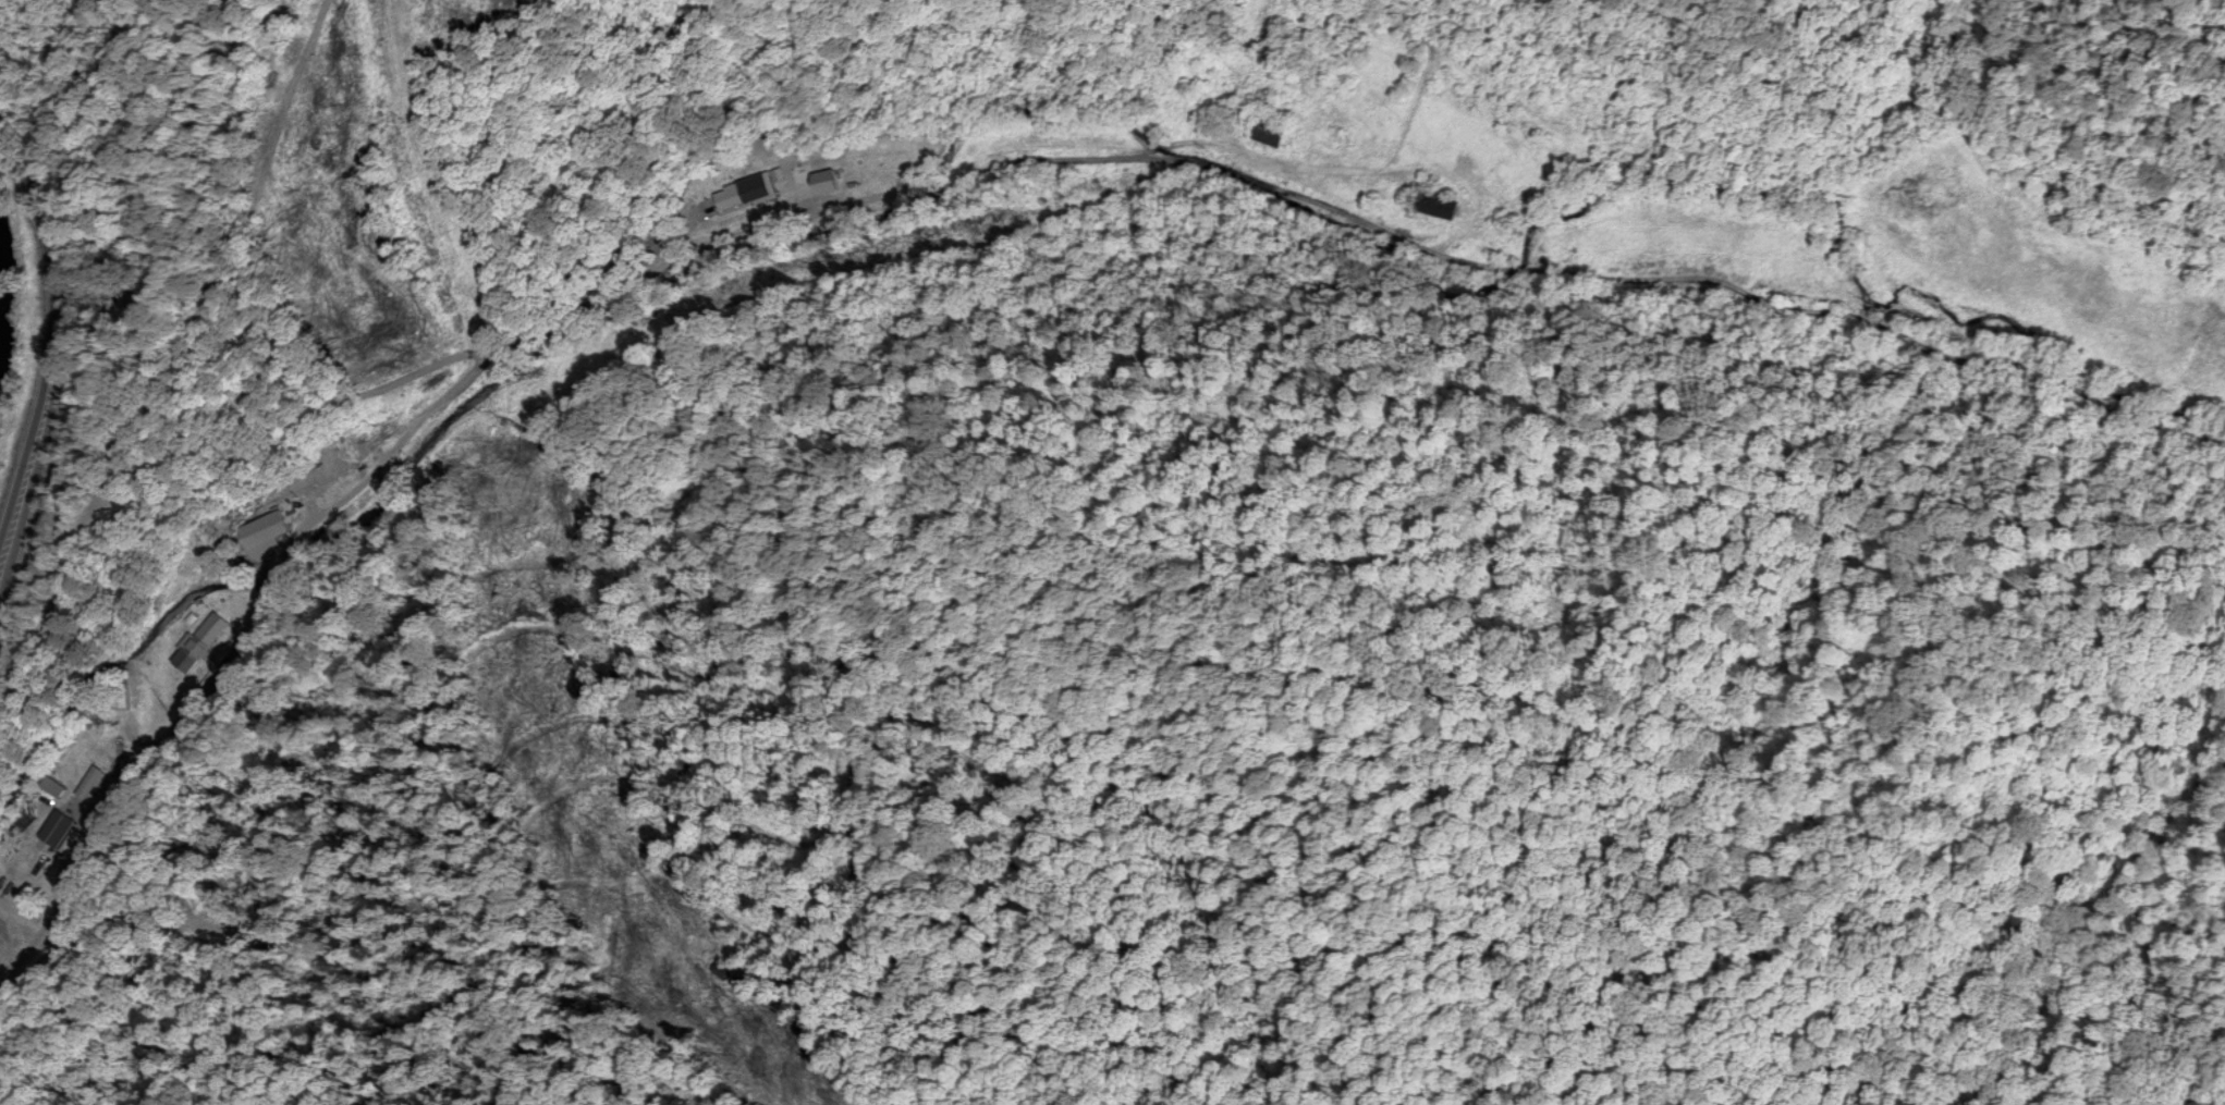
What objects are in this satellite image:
building: (1277, 135)
building: (748, 196)
building: (1451, 208)
road: (663, 254)
river: (3, 314)
road: (53, 351)
building: (375, 442)
building: (354, 466)
building: (270, 535)
building: (207, 646)
road: (559, 773)
building: (93, 784)

